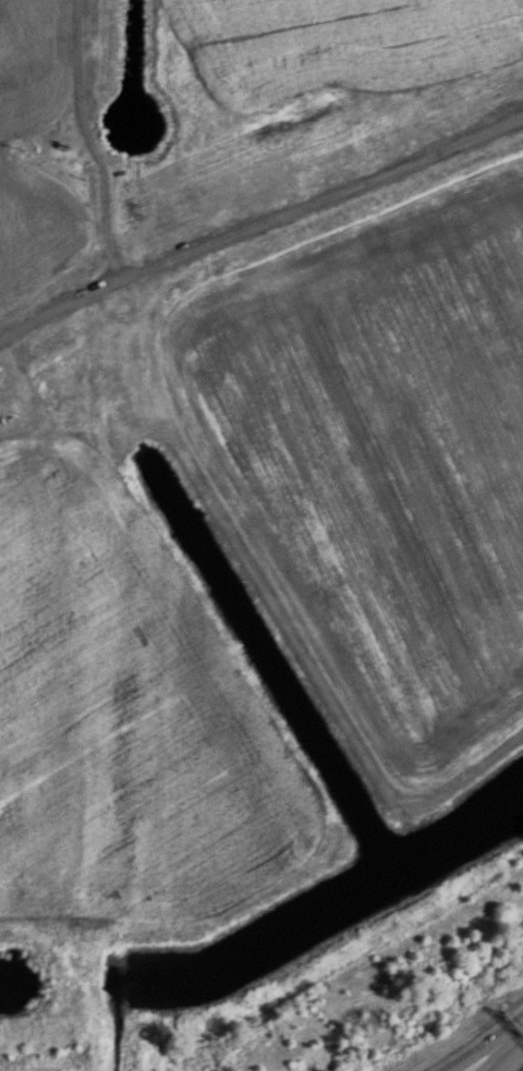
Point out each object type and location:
road: (80, 139)
road: (406, 161)
road: (166, 255)
road: (22, 332)
road: (483, 1048)
road: (503, 1052)

